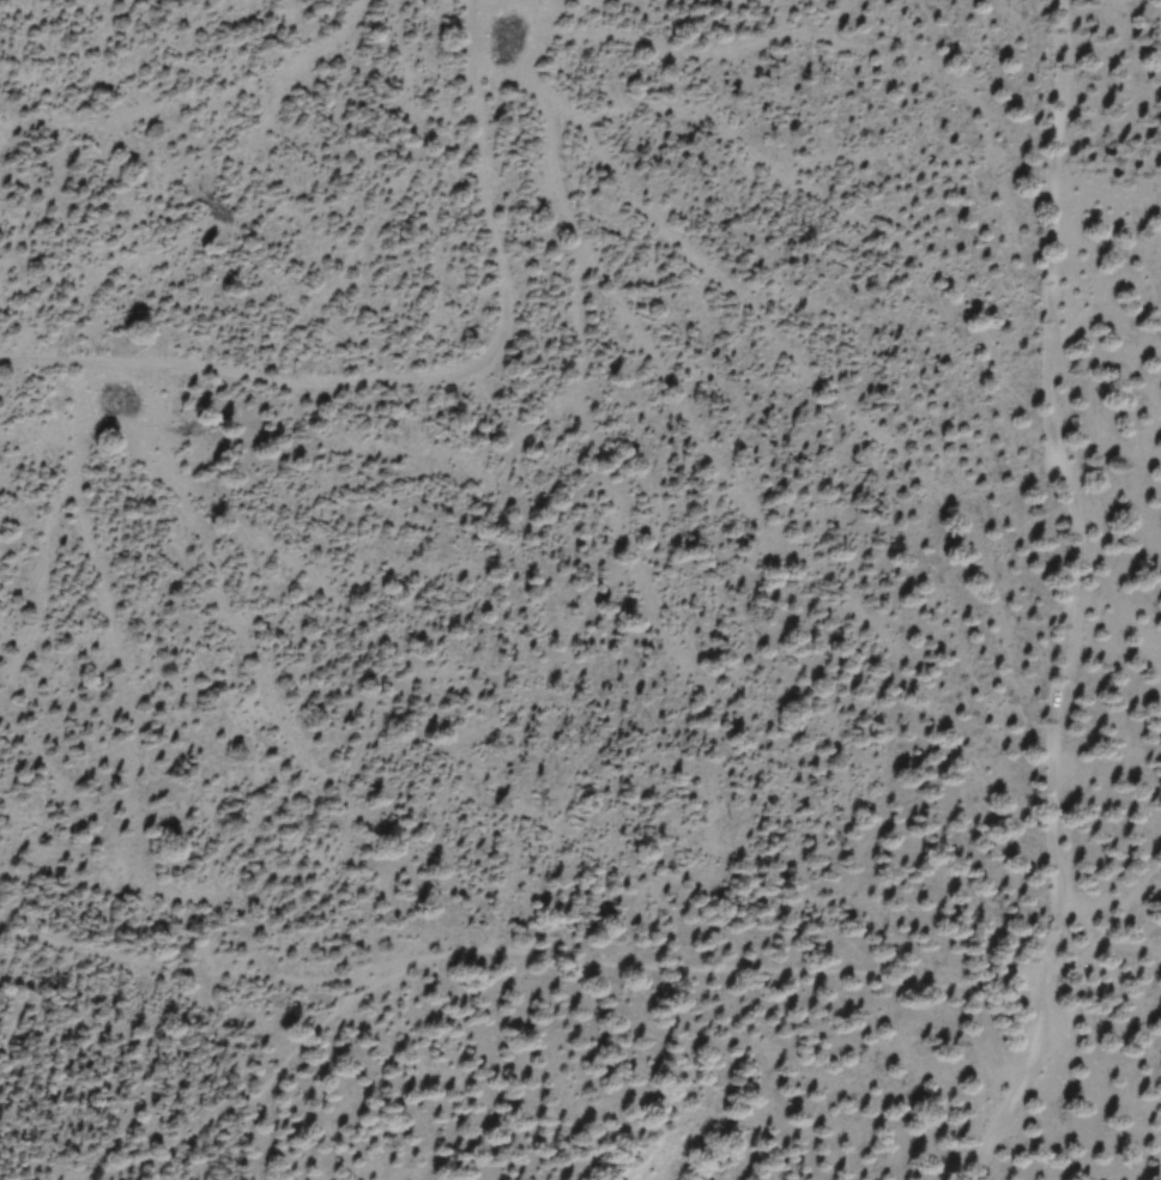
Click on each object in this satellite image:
road: (431, 382)
road: (1071, 488)
road: (1102, 925)
road: (515, 954)
road: (208, 970)
road: (1102, 979)
road: (1017, 1083)

